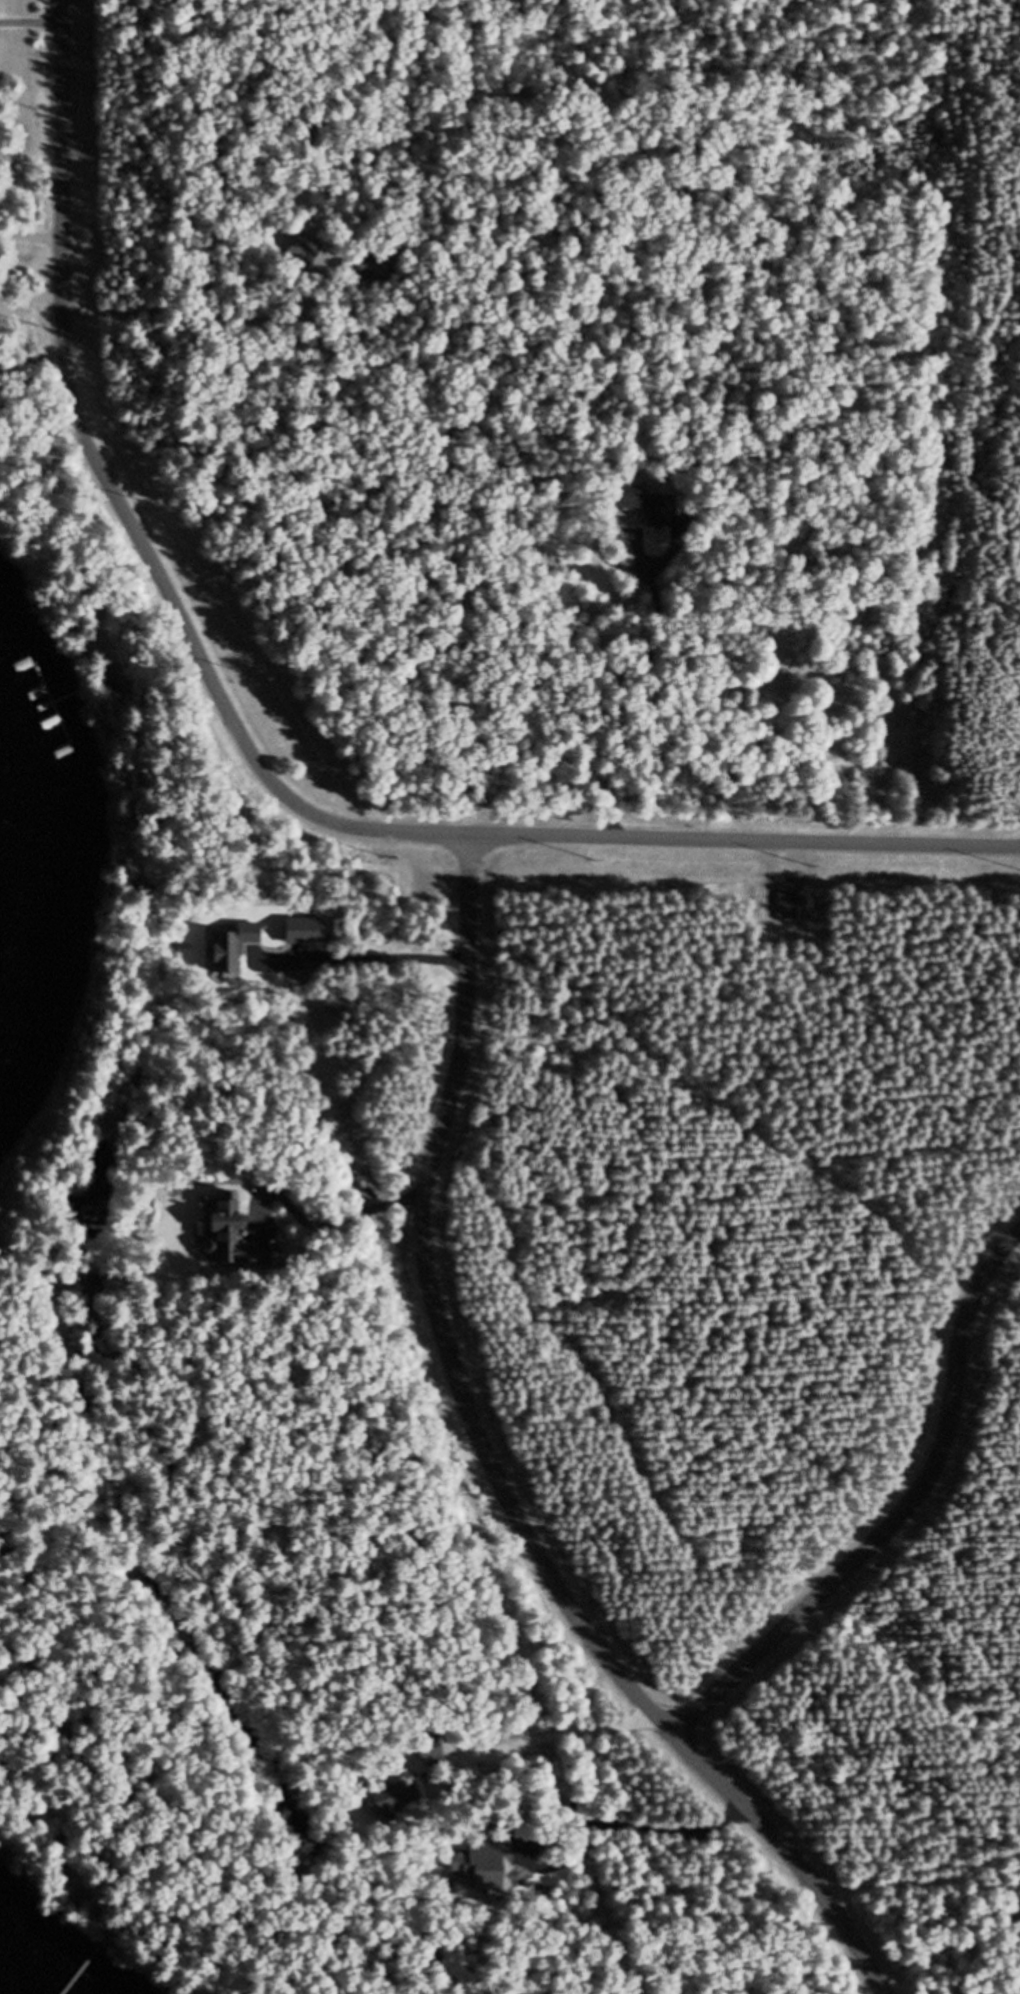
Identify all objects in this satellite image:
building: (370, 274)
road: (97, 451)
building: (650, 513)
road: (685, 830)
building: (789, 914)
road: (489, 1459)
road: (893, 1506)
road: (557, 1723)
building: (392, 1803)

